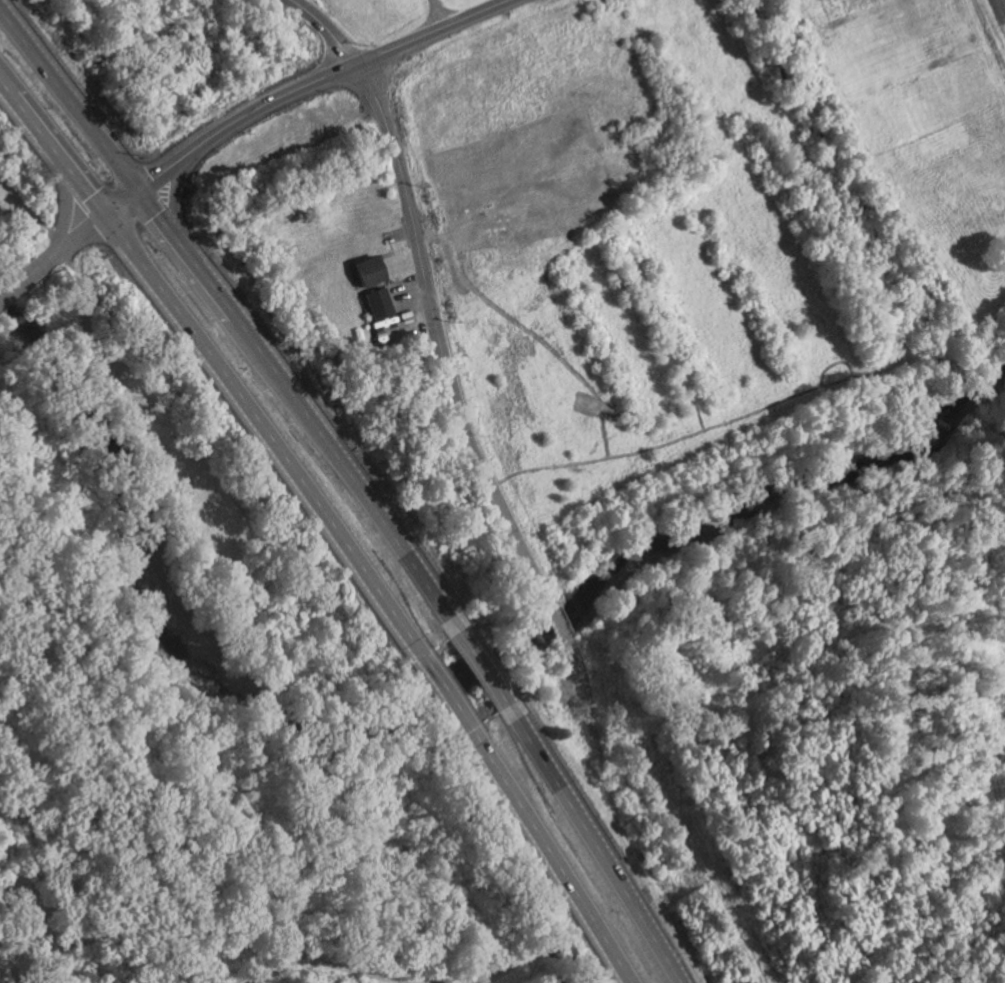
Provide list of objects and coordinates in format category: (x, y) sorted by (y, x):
road: (437, 13)
road: (341, 70)
road: (69, 100)
road: (53, 146)
road: (161, 174)
traffic signals: (139, 190)
road: (169, 194)
road: (122, 201)
road: (62, 203)
road: (155, 212)
traffic signals: (106, 213)
road: (80, 231)
road: (45, 256)
building: (373, 270)
road: (17, 275)
road: (201, 275)
road: (425, 294)
building: (380, 303)
road: (267, 433)
road: (344, 474)
road: (556, 623)
road: (482, 670)
road: (575, 677)
road: (445, 696)
road: (684, 810)
road: (594, 844)
road: (551, 857)

